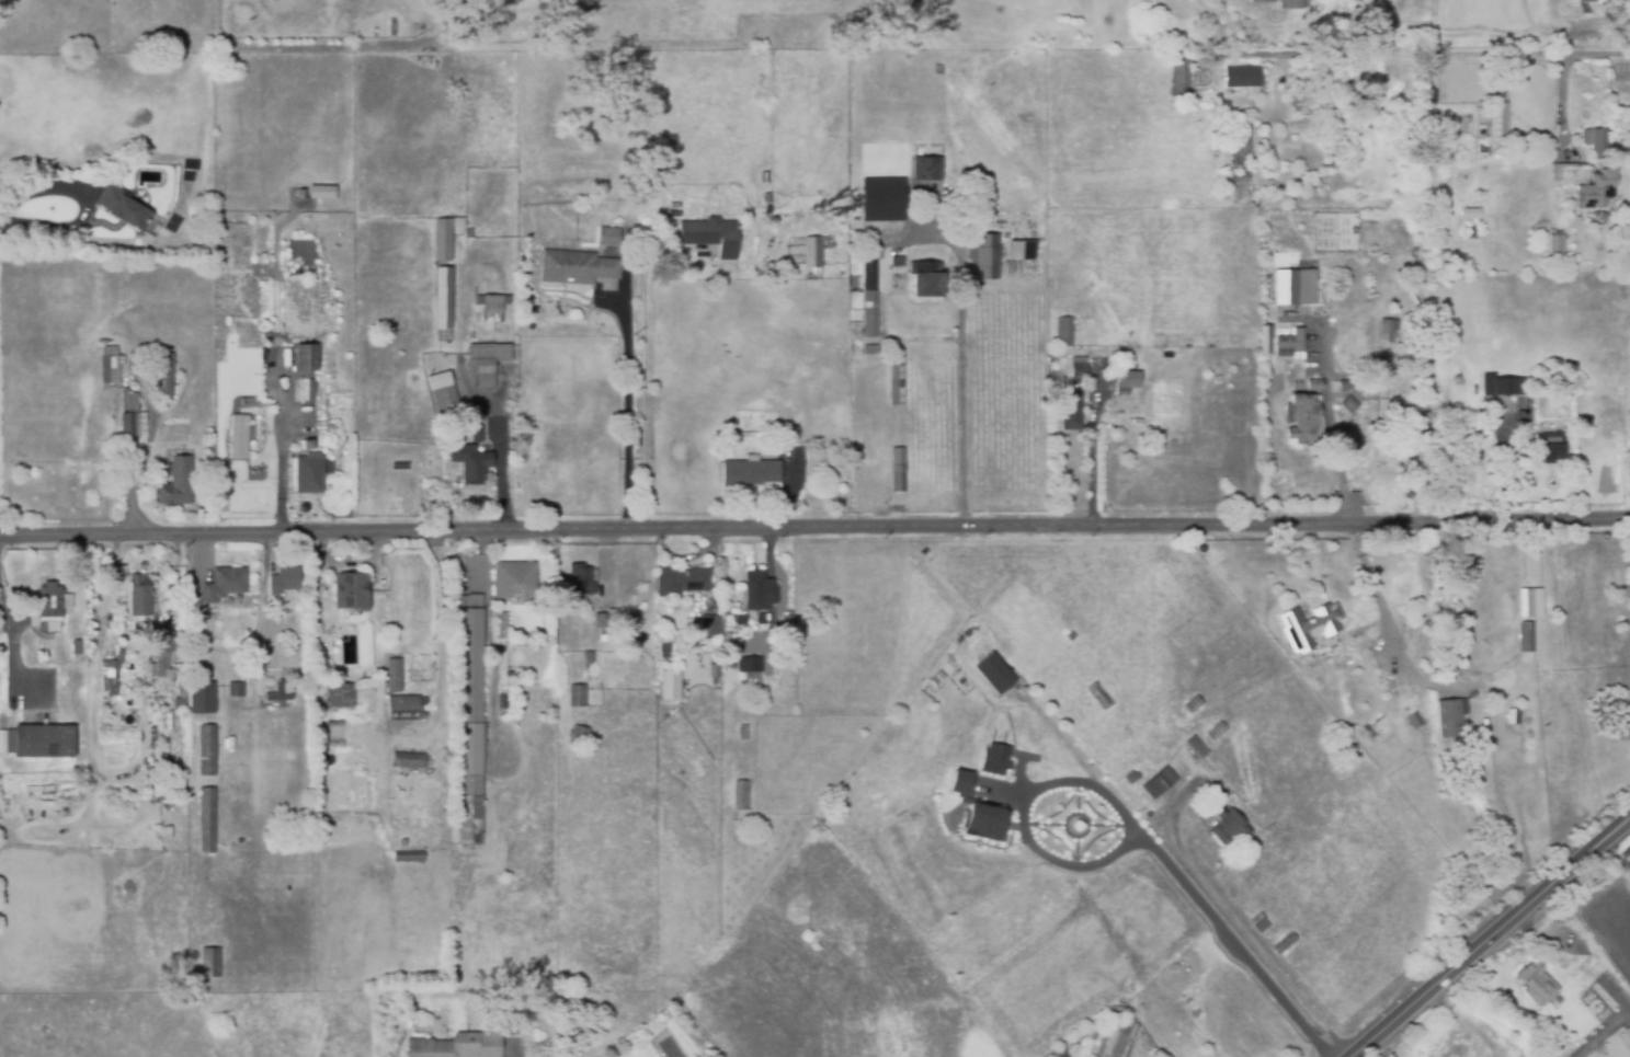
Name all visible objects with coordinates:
building: (1263, 1)
building: (1586, 1)
building: (1291, 3)
road: (1472, 46)
building: (937, 71)
building: (1179, 72)
building: (1240, 78)
building: (1418, 120)
building: (1498, 125)
building: (1597, 142)
building: (1240, 151)
building: (1508, 152)
building: (1334, 158)
building: (926, 170)
building: (1600, 186)
building: (320, 192)
building: (884, 200)
road: (84, 203)
building: (123, 204)
building: (1572, 211)
building: (973, 223)
building: (611, 233)
building: (709, 237)
building: (445, 238)
building: (827, 242)
building: (282, 246)
building: (1019, 250)
building: (1557, 250)
building: (812, 256)
building: (990, 257)
building: (894, 263)
building: (579, 265)
building: (928, 283)
building: (1290, 289)
building: (868, 300)
building: (494, 305)
building: (445, 306)
building: (1387, 332)
building: (1063, 333)
building: (1265, 340)
building: (1289, 345)
building: (869, 352)
building: (488, 359)
building: (112, 365)
building: (307, 368)
road: (962, 368)
building: (1076, 372)
building: (168, 375)
road: (135, 376)
building: (1127, 380)
building: (896, 386)
building: (1314, 386)
building: (1343, 387)
building: (1501, 387)
building: (446, 392)
building: (1121, 393)
road: (627, 405)
building: (1348, 405)
building: (1069, 412)
building: (132, 413)
building: (1629, 414)
building: (1303, 418)
road: (1329, 422)
building: (730, 424)
building: (479, 432)
building: (241, 435)
building: (784, 438)
building: (311, 444)
road: (1092, 446)
building: (1550, 451)
building: (472, 460)
road: (499, 463)
building: (897, 471)
building: (311, 472)
building: (749, 474)
building: (178, 480)
road: (814, 526)
building: (1337, 576)
building: (287, 577)
building: (227, 582)
building: (517, 582)
building: (575, 583)
building: (672, 584)
building: (759, 588)
building: (353, 589)
building: (143, 593)
building: (52, 601)
building: (1526, 604)
building: (1629, 609)
building: (741, 620)
building: (2, 621)
building: (761, 621)
building: (503, 623)
building: (599, 624)
road: (1392, 625)
building: (708, 627)
building: (1310, 627)
building: (1070, 636)
building: (1527, 637)
road: (490, 642)
building: (658, 648)
road: (228, 653)
building: (163, 655)
building: (183, 665)
building: (752, 669)
building: (714, 670)
building: (396, 673)
building: (994, 675)
building: (111, 680)
building: (662, 687)
building: (237, 688)
building: (284, 691)
building: (342, 693)
building: (204, 696)
building: (1101, 696)
building: (183, 697)
building: (580, 699)
building: (1193, 704)
building: (408, 706)
building: (1513, 716)
building: (1451, 717)
building: (1415, 722)
building: (472, 724)
building: (333, 732)
building: (1217, 732)
building: (744, 733)
road: (1065, 737)
building: (43, 739)
building: (209, 747)
building: (1196, 750)
building: (411, 759)
building: (994, 760)
building: (1132, 778)
building: (1159, 782)
building: (960, 784)
building: (172, 790)
building: (741, 795)
building: (985, 823)
road: (1133, 827)
building: (1229, 827)
building: (209, 830)
building: (409, 853)
building: (1259, 922)
road: (1482, 931)
building: (1284, 944)
building: (212, 961)
building: (412, 967)
building: (1537, 984)
building: (1189, 995)
building: (1600, 999)
building: (1108, 1035)
building: (459, 1045)
building: (1062, 1053)

